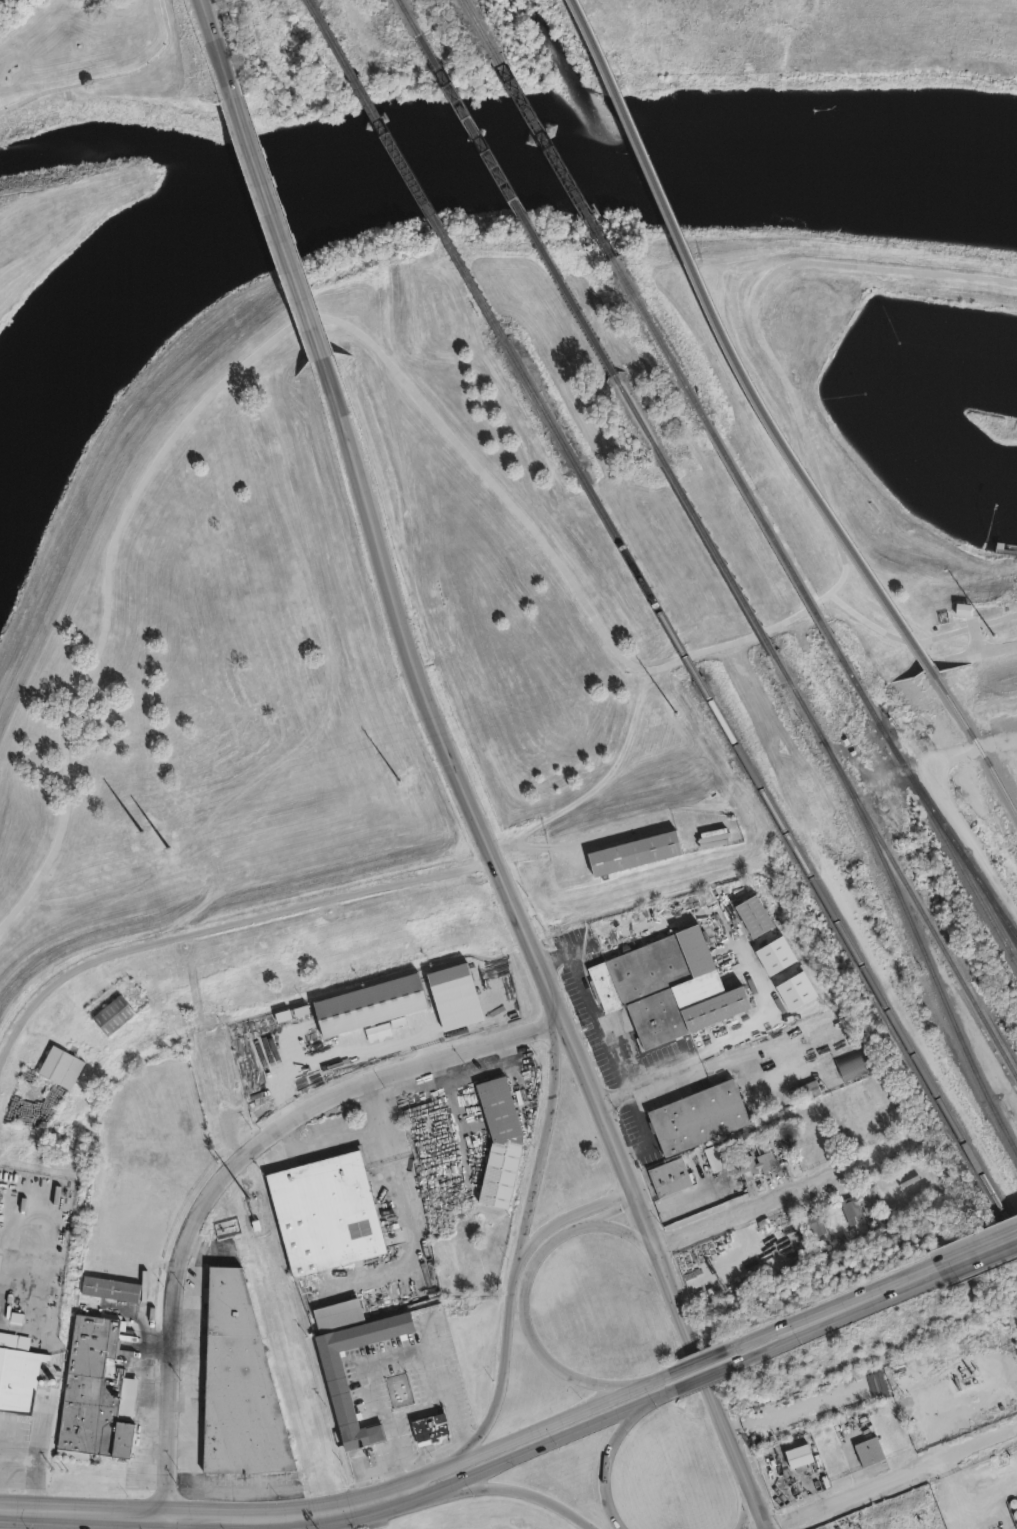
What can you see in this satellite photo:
railway: (408, 18)
railway: (480, 27)
road: (210, 48)
road: (107, 75)
railway: (554, 156)
railway: (405, 169)
river: (456, 173)
railway: (515, 205)
road: (271, 227)
railway: (731, 347)
railway: (675, 366)
railway: (540, 404)
railway: (638, 420)
road: (476, 462)
railway: (719, 559)
road: (108, 565)
railway: (639, 575)
railway: (797, 579)
building: (961, 611)
parking lot: (1016, 624)
road: (921, 640)
road: (977, 640)
road: (982, 651)
power tower: (897, 658)
railway: (798, 696)
power tower: (654, 717)
road: (1013, 734)
railway: (975, 741)
power tower: (405, 777)
railway: (937, 825)
railway: (950, 838)
power tower: (153, 839)
building: (628, 848)
road: (643, 883)
railway: (920, 910)
railway: (1001, 912)
building: (753, 915)
railway: (1001, 918)
road: (225, 923)
railway: (919, 945)
road: (529, 948)
railway: (858, 957)
building: (665, 986)
building: (370, 1003)
road: (592, 1008)
building: (112, 1015)
building: (379, 1030)
road: (335, 1055)
building: (854, 1064)
building: (59, 1067)
road: (649, 1084)
building: (804, 1091)
building: (49, 1098)
building: (698, 1117)
road: (342, 1136)
building: (781, 1143)
building: (500, 1147)
building: (784, 1154)
building: (717, 1157)
building: (757, 1164)
road: (231, 1175)
building: (669, 1177)
road: (780, 1196)
building: (867, 1200)
building: (850, 1208)
power tower: (252, 1209)
building: (325, 1213)
road: (571, 1214)
building: (830, 1214)
building: (813, 1222)
road: (407, 1228)
road: (619, 1230)
building: (821, 1244)
road: (521, 1247)
road: (977, 1254)
building: (110, 1290)
road: (875, 1297)
road: (524, 1298)
road: (771, 1332)
road: (777, 1346)
road: (387, 1358)
road: (696, 1361)
petroleum well: (967, 1374)
building: (18, 1377)
road: (703, 1377)
building: (336, 1384)
building: (237, 1385)
building: (93, 1391)
building: (429, 1427)
road: (1016, 1428)
road: (537, 1429)
road: (543, 1446)
building: (868, 1453)
building: (800, 1458)
road: (612, 1460)
road: (30, 1477)
road: (890, 1479)
road: (528, 1492)
road: (210, 1517)
road: (13, 1519)
petroleum well: (996, 1527)

